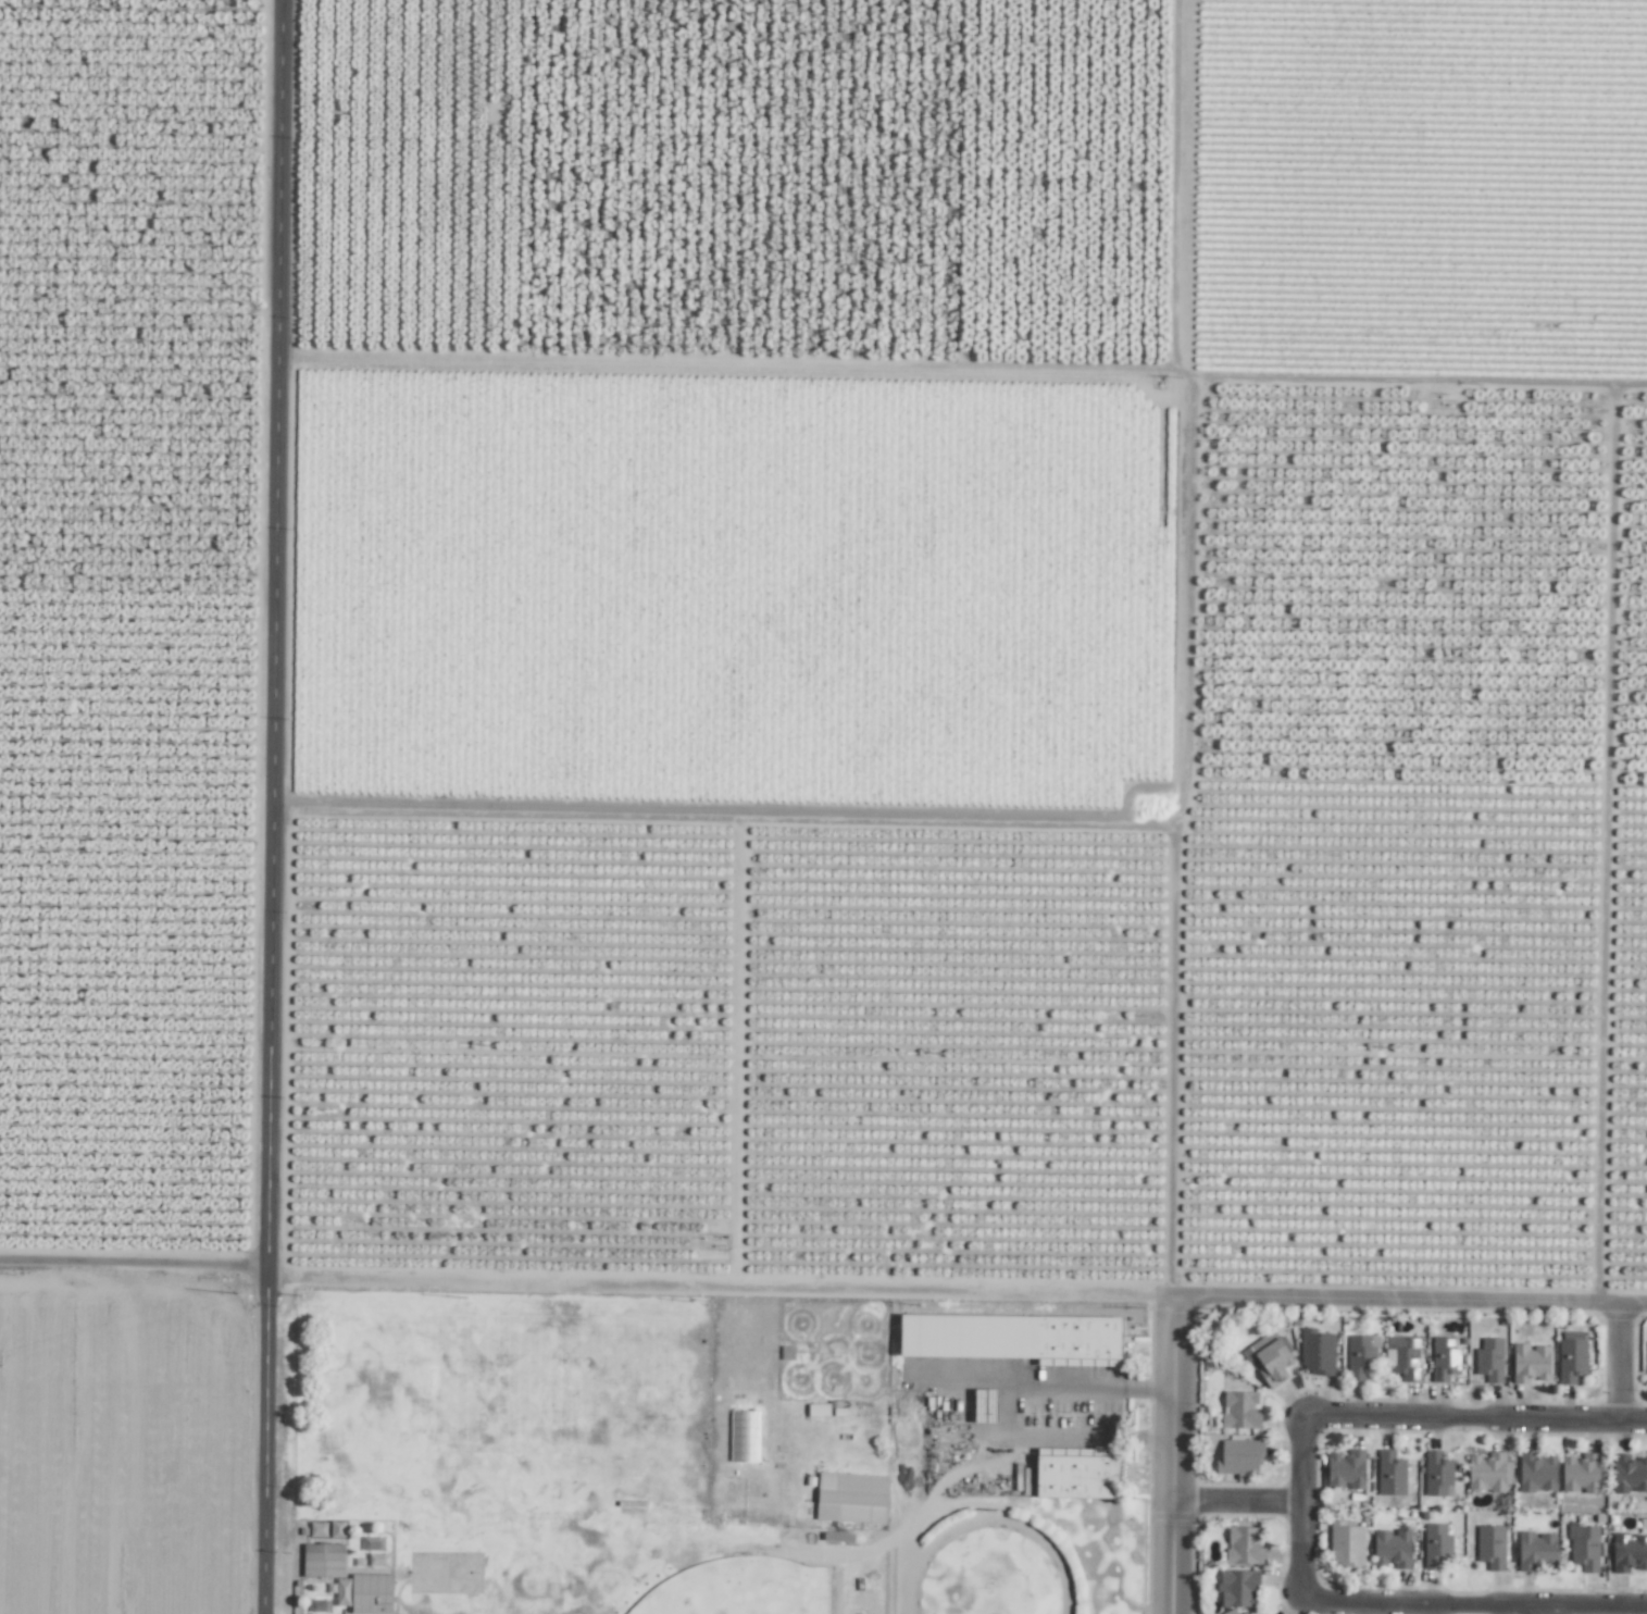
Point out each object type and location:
road: (276, 806)
road: (587, 1277)
road: (1410, 1305)
building: (1010, 1337)
building: (1317, 1352)
building: (1361, 1356)
building: (1402, 1356)
building: (1269, 1358)
building: (1445, 1358)
building: (1490, 1360)
building: (1571, 1360)
building: (1530, 1363)
road: (1618, 1363)
road: (1003, 1390)
building: (818, 1410)
building: (1240, 1410)
road: (1476, 1416)
building: (745, 1436)
road: (1150, 1437)
building: (1239, 1456)
road: (1172, 1457)
building: (1346, 1469)
building: (1489, 1470)
building: (1536, 1473)
building: (1580, 1473)
building: (1629, 1473)
building: (1390, 1474)
building: (1437, 1474)
building: (1075, 1475)
building: (851, 1498)
road: (1235, 1500)
road: (1299, 1512)
building: (1346, 1543)
building: (1436, 1545)
building: (1490, 1545)
building: (1244, 1547)
building: (1583, 1547)
building: (1392, 1548)
building: (1536, 1551)
building: (1629, 1552)
building: (323, 1560)
building: (1238, 1588)
building: (371, 1593)
road: (1478, 1606)

